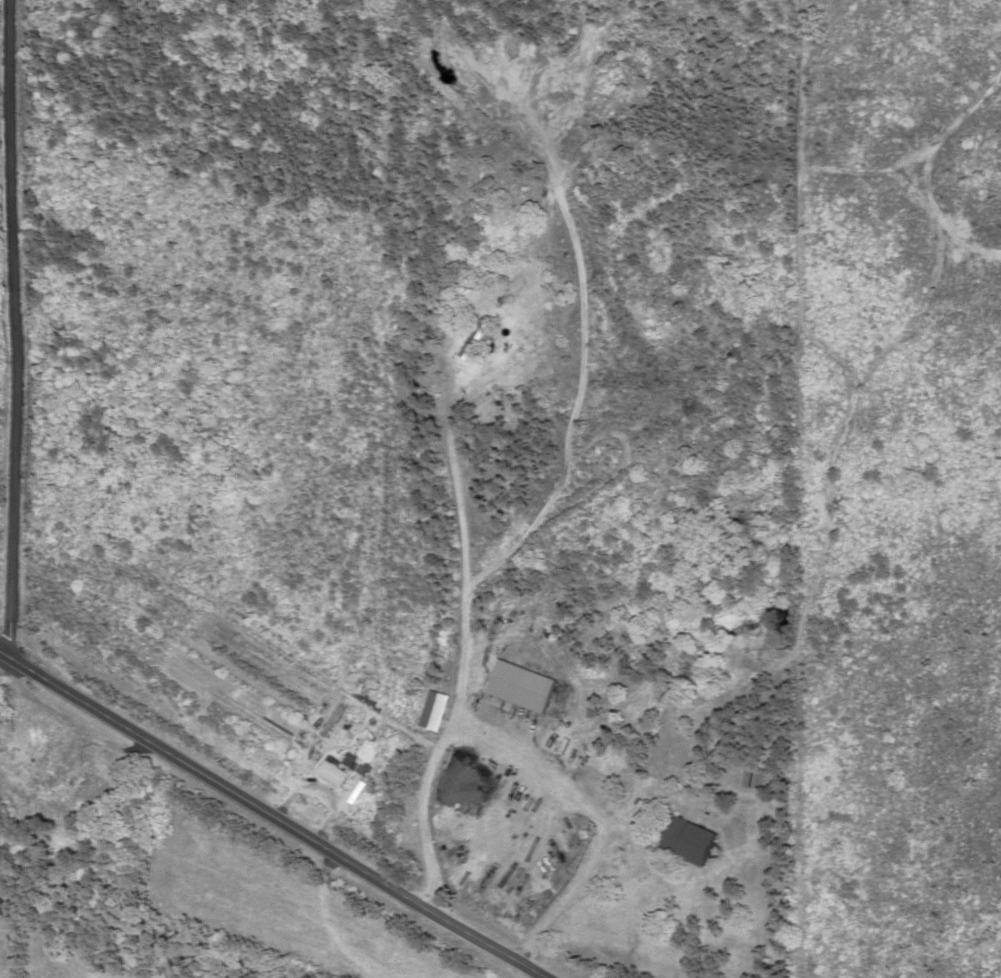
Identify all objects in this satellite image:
road: (16, 331)
building: (472, 338)
building: (681, 437)
road: (465, 661)
building: (337, 772)
building: (761, 778)
road: (269, 816)
building: (693, 841)
road: (624, 874)
building: (745, 971)

